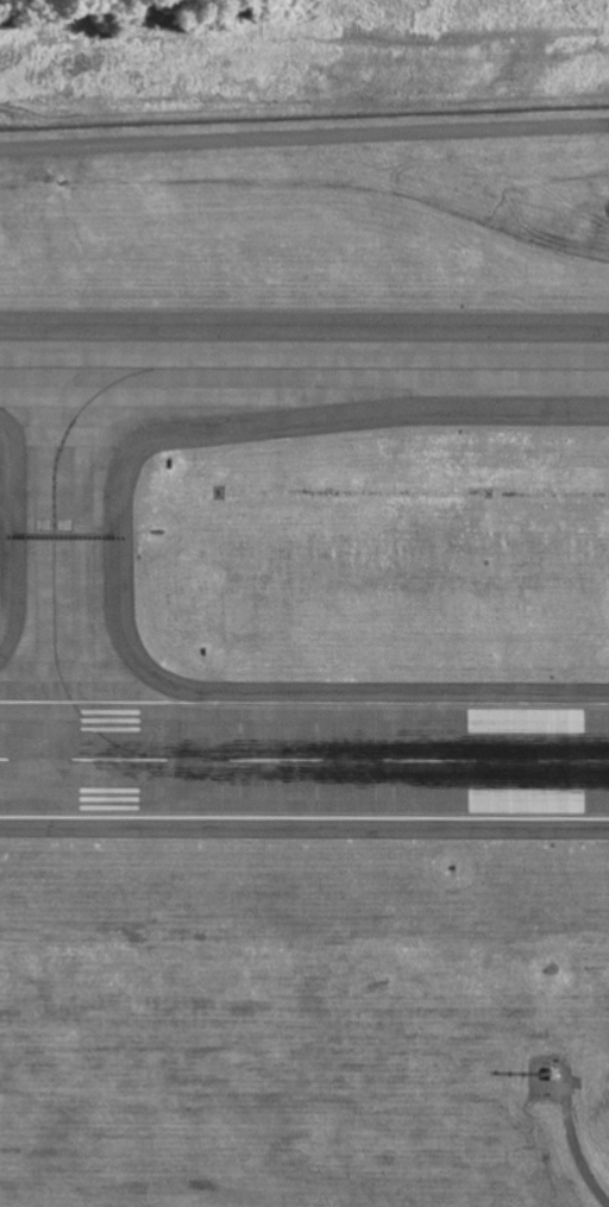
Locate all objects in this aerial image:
road: (303, 130)
airport taxiway: (303, 372)
airport taxiway: (73, 564)
airport: (304, 660)
airport runway: (303, 757)
road: (569, 1156)

